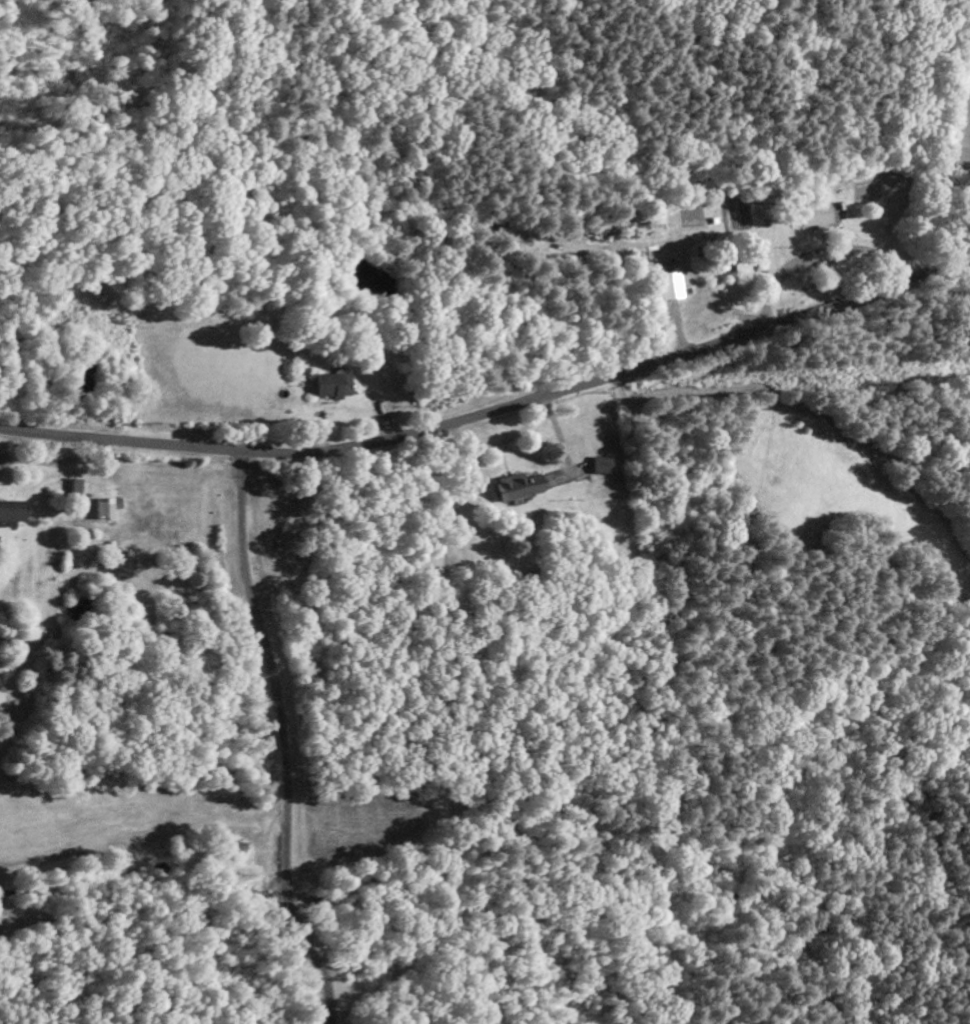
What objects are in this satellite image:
building: (735, 264)
building: (667, 281)
building: (332, 385)
road: (493, 409)
building: (600, 466)
building: (516, 487)
building: (104, 509)
building: (12, 511)

